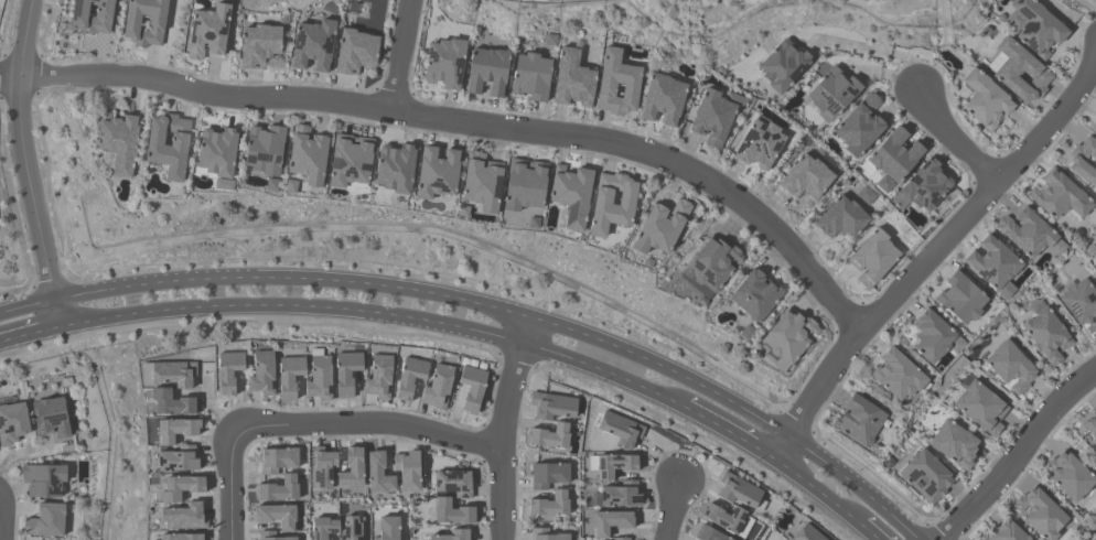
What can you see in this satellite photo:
building: (93, 15)
building: (146, 22)
road: (8, 25)
building: (1035, 26)
building: (208, 32)
building: (314, 45)
building: (258, 46)
building: (355, 52)
road: (877, 53)
road: (401, 55)
building: (445, 64)
building: (783, 66)
building: (487, 72)
building: (1021, 74)
building: (530, 77)
road: (9, 79)
building: (573, 80)
road: (222, 82)
building: (616, 84)
building: (832, 94)
building: (663, 99)
building: (985, 101)
building: (716, 116)
road: (472, 123)
building: (1094, 126)
building: (859, 127)
building: (118, 141)
road: (954, 141)
building: (760, 143)
building: (169, 144)
building: (265, 150)
road: (23, 151)
building: (217, 152)
building: (308, 155)
building: (895, 155)
building: (351, 160)
building: (1084, 161)
building: (395, 169)
building: (437, 173)
building: (806, 177)
building: (482, 182)
building: (525, 184)
building: (925, 185)
building: (571, 195)
building: (1060, 196)
building: (612, 204)
road: (14, 213)
building: (841, 218)
building: (660, 227)
building: (1030, 235)
road: (939, 246)
road: (948, 257)
building: (873, 258)
building: (711, 267)
building: (995, 267)
building: (1095, 269)
road: (316, 281)
road: (19, 292)
road: (103, 293)
road: (877, 293)
building: (755, 295)
building: (961, 299)
building: (1081, 304)
road: (28, 307)
road: (323, 307)
road: (505, 310)
road: (60, 313)
road: (122, 317)
road: (524, 330)
road: (32, 334)
building: (1047, 335)
road: (492, 336)
road: (592, 336)
building: (931, 336)
building: (788, 338)
road: (551, 354)
building: (1010, 367)
building: (227, 372)
building: (346, 372)
building: (174, 374)
building: (262, 374)
building: (898, 375)
building: (289, 376)
building: (379, 377)
building: (410, 377)
building: (320, 379)
building: (438, 386)
building: (472, 387)
road: (637, 387)
road: (726, 396)
road: (793, 398)
building: (172, 402)
building: (552, 407)
building: (981, 408)
building: (51, 418)
building: (859, 421)
building: (12, 423)
road: (319, 424)
building: (1090, 429)
building: (175, 430)
building: (621, 430)
road: (732, 434)
building: (550, 436)
road: (503, 441)
building: (954, 445)
road: (782, 447)
road: (30, 453)
road: (1020, 453)
building: (179, 460)
building: (277, 460)
building: (614, 465)
building: (322, 468)
building: (351, 471)
building: (408, 471)
building: (379, 474)
building: (549, 475)
building: (926, 476)
building: (1070, 477)
building: (44, 479)
building: (454, 483)
road: (858, 486)
building: (181, 487)
building: (278, 490)
road: (814, 490)
building: (738, 492)
building: (621, 496)
building: (550, 505)
building: (453, 512)
road: (673, 512)
building: (1040, 515)
building: (277, 516)
building: (184, 517)
road: (0, 518)
building: (726, 518)
building: (46, 520)
building: (610, 523)
building: (324, 528)
building: (354, 528)
building: (389, 528)
road: (867, 531)
building: (1006, 532)
building: (808, 533)
building: (547, 534)
building: (709, 534)
building: (271, 536)
building: (453, 536)
building: (182, 537)
building: (620, 539)
building: (1094, 539)

